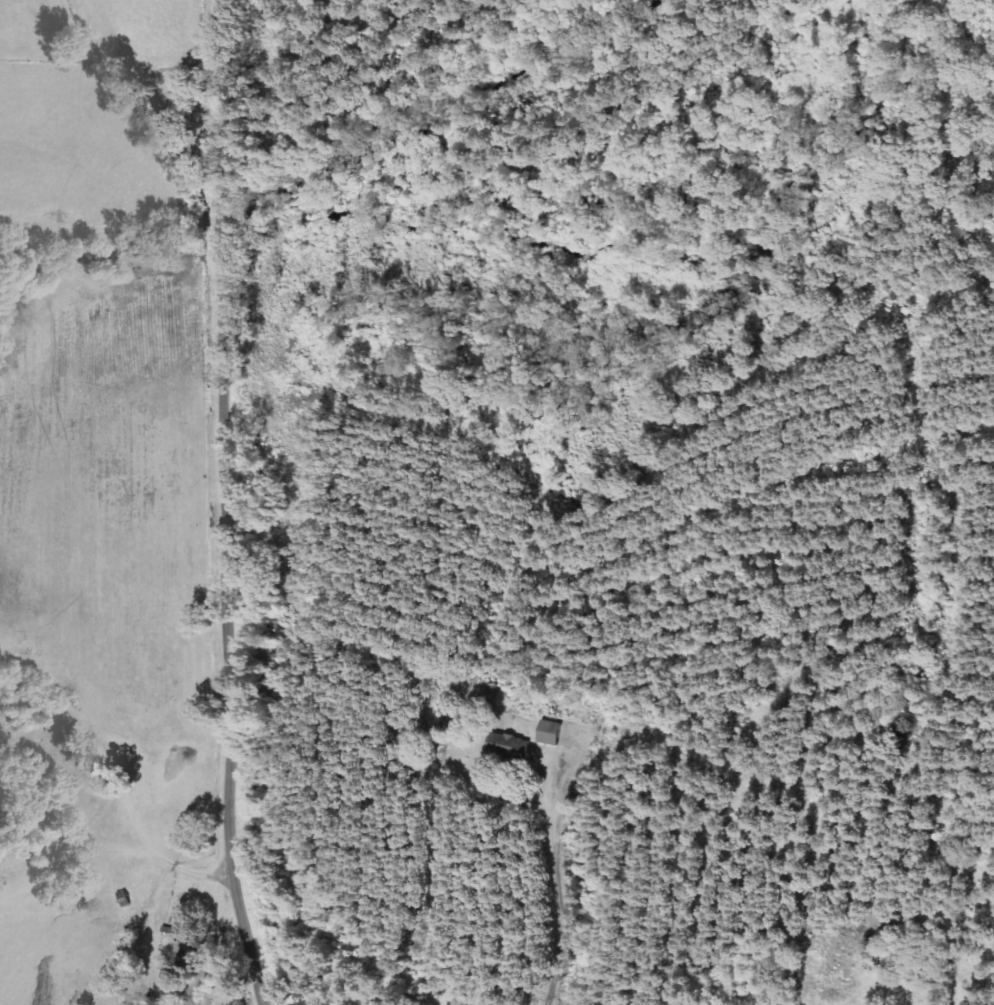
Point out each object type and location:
road: (225, 504)
building: (552, 733)

